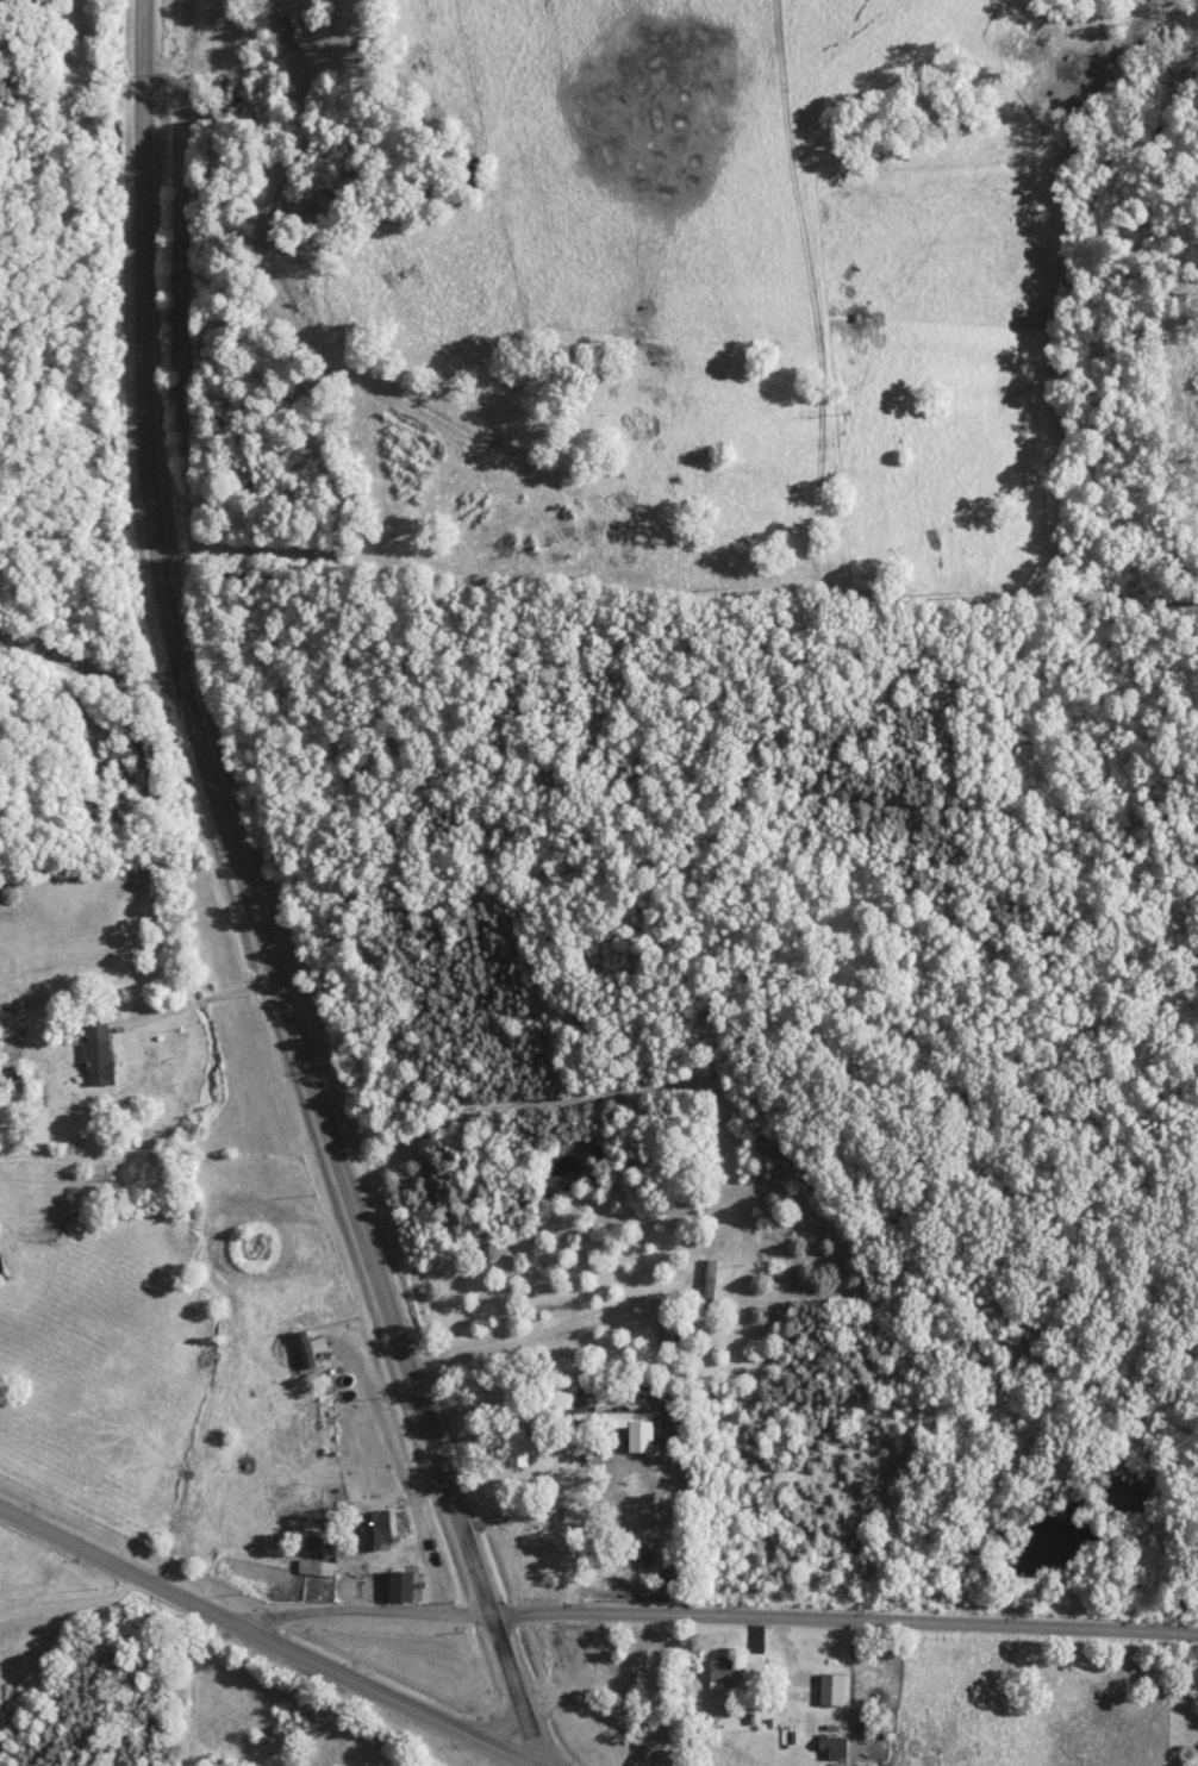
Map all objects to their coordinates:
road: (89, 663)
building: (121, 756)
road: (249, 899)
road: (195, 993)
building: (94, 1054)
building: (711, 1285)
building: (670, 1335)
building: (609, 1421)
building: (523, 1449)
road: (428, 1490)
road: (406, 1491)
building: (375, 1530)
building: (399, 1587)
road: (71, 1604)
road: (363, 1611)
road: (846, 1625)
road: (267, 1640)
building: (722, 1674)
road: (507, 1724)
building: (829, 1747)

